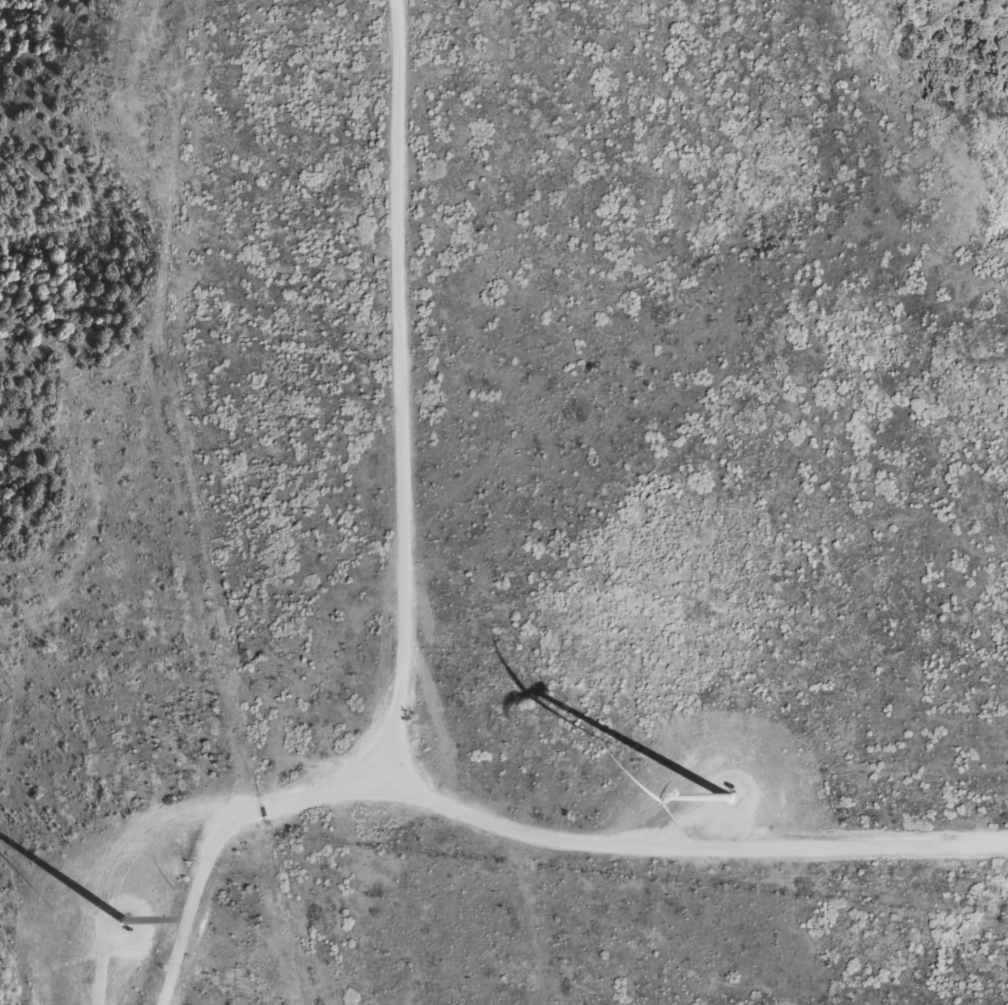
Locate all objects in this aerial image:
wind turbine: (722, 777)
wind turbine: (127, 926)

